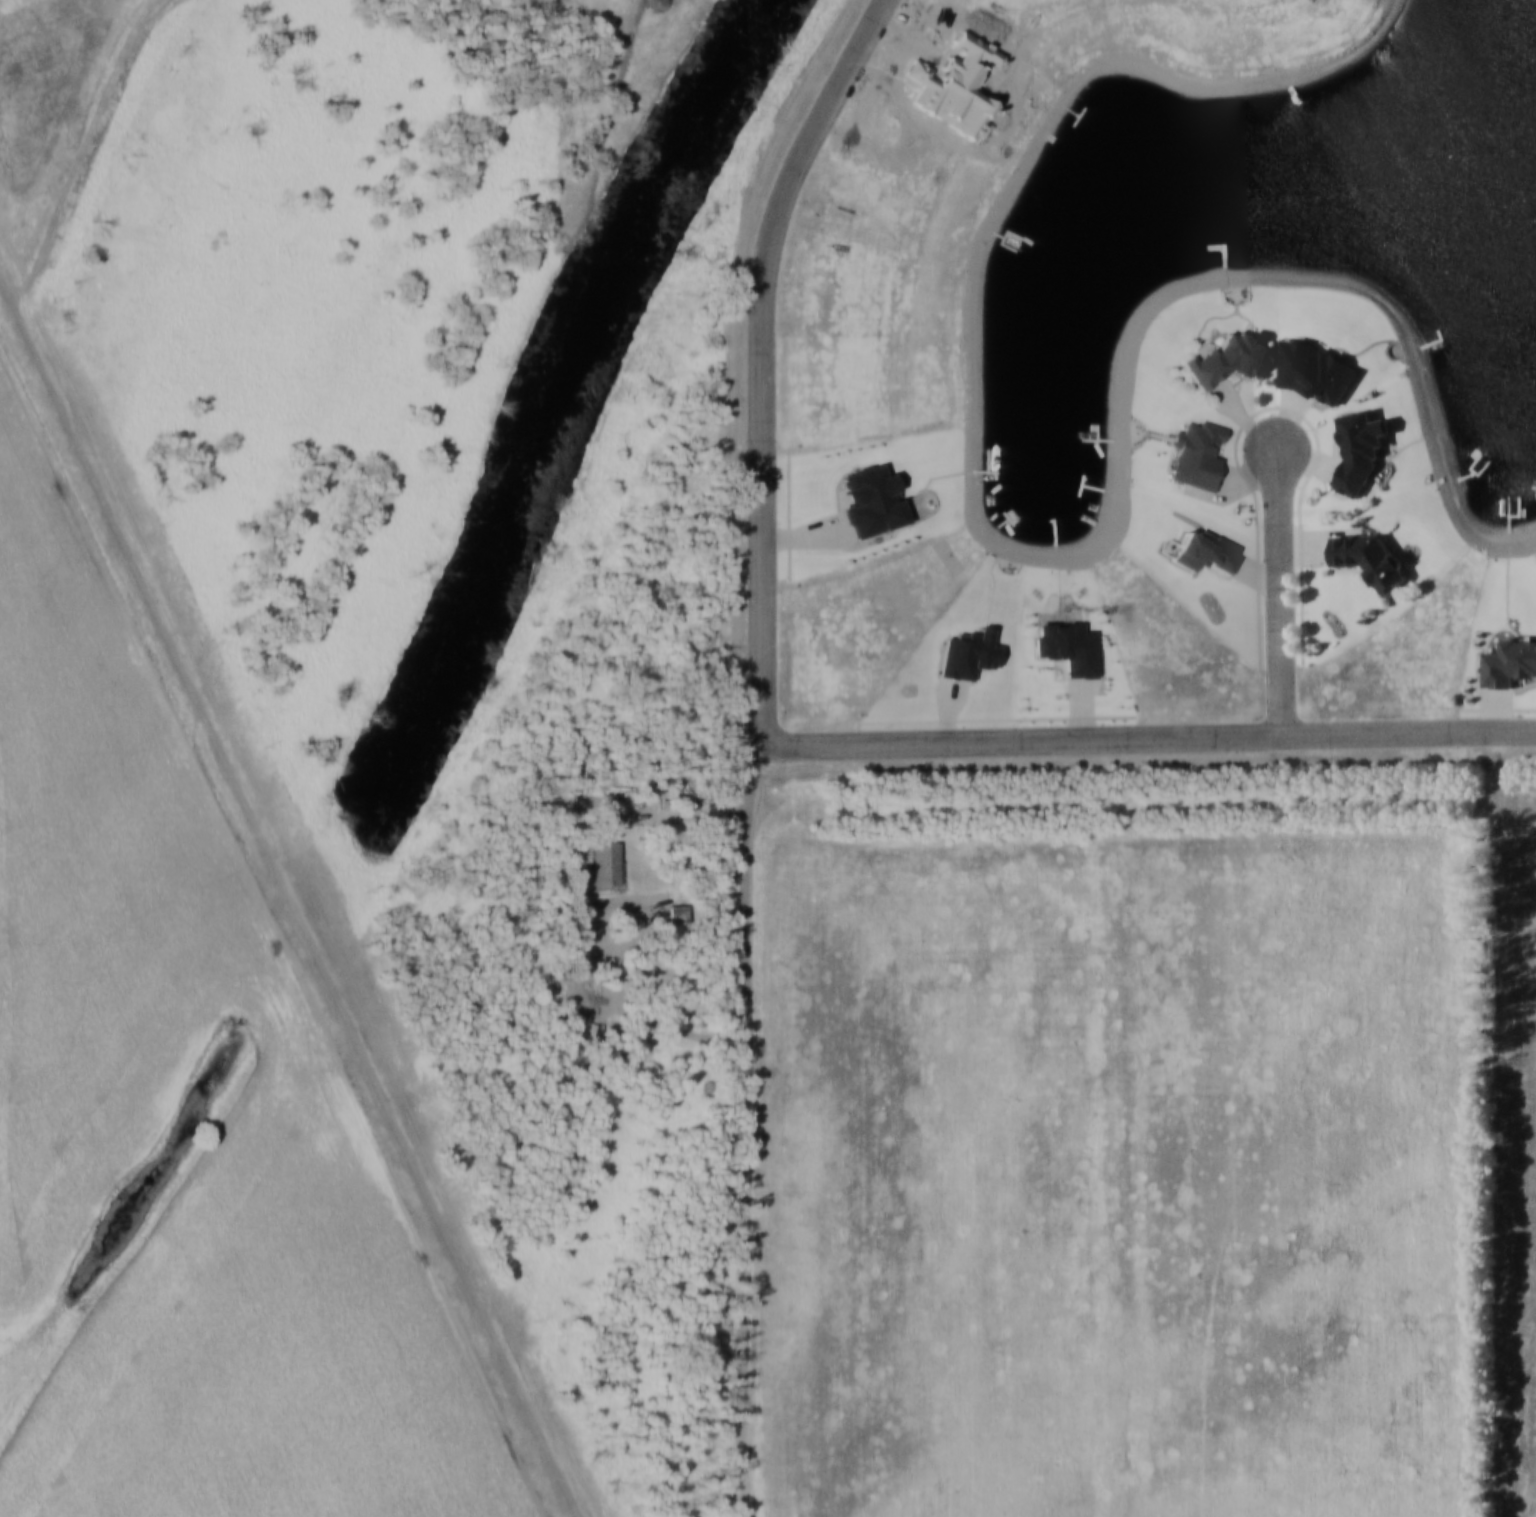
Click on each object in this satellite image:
building: (1229, 357)
road: (751, 360)
building: (1204, 551)
building: (1371, 558)
road: (1287, 594)
building: (1509, 661)
road: (1149, 739)
road: (697, 808)
building: (604, 862)
road: (752, 1133)

